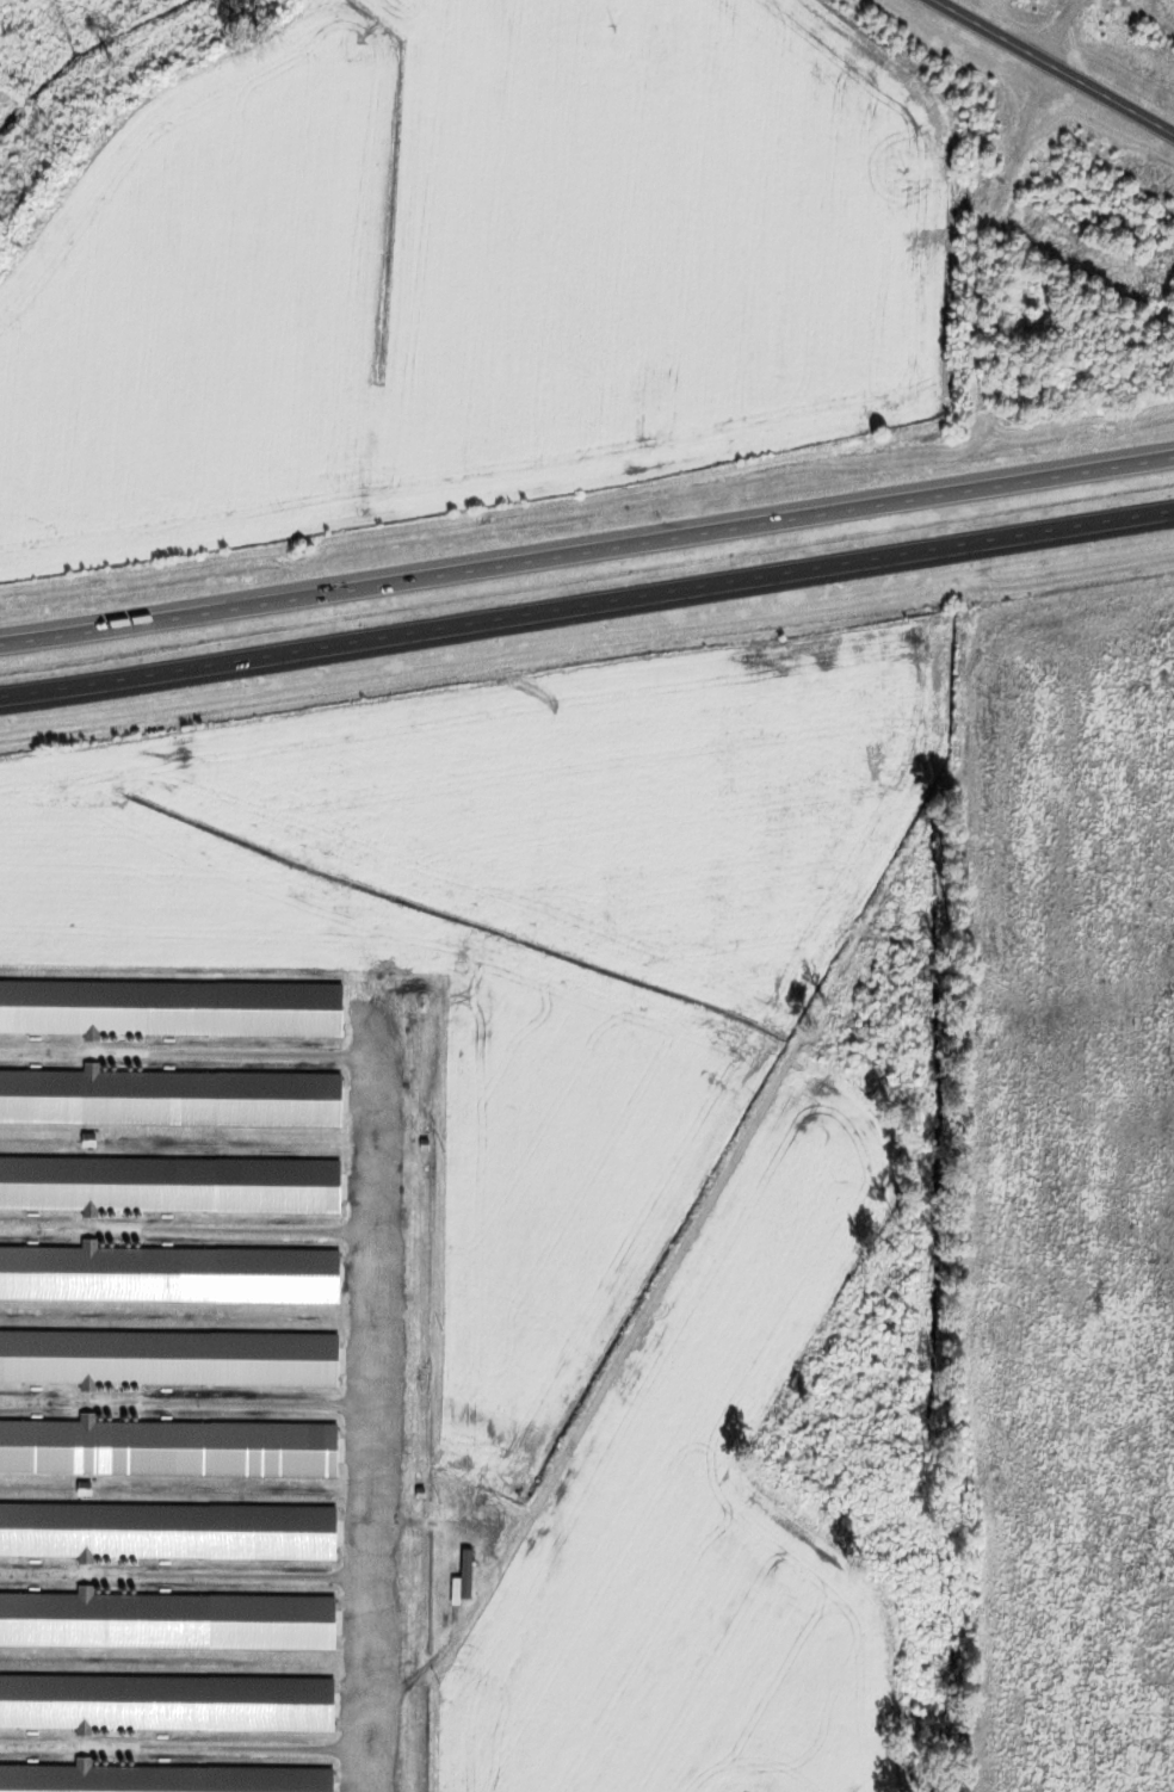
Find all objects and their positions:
road: (1055, 66)
road: (587, 543)
road: (587, 611)
building: (171, 1009)
road: (185, 1053)
building: (169, 1099)
building: (169, 1186)
road: (181, 1231)
building: (168, 1275)
building: (168, 1359)
road: (181, 1398)
road: (362, 1403)
building: (167, 1448)
building: (167, 1533)
building: (468, 1574)
road: (186, 1576)
building: (166, 1623)
road: (432, 1662)
building: (166, 1705)
road: (191, 1745)
building: (160, 1780)

